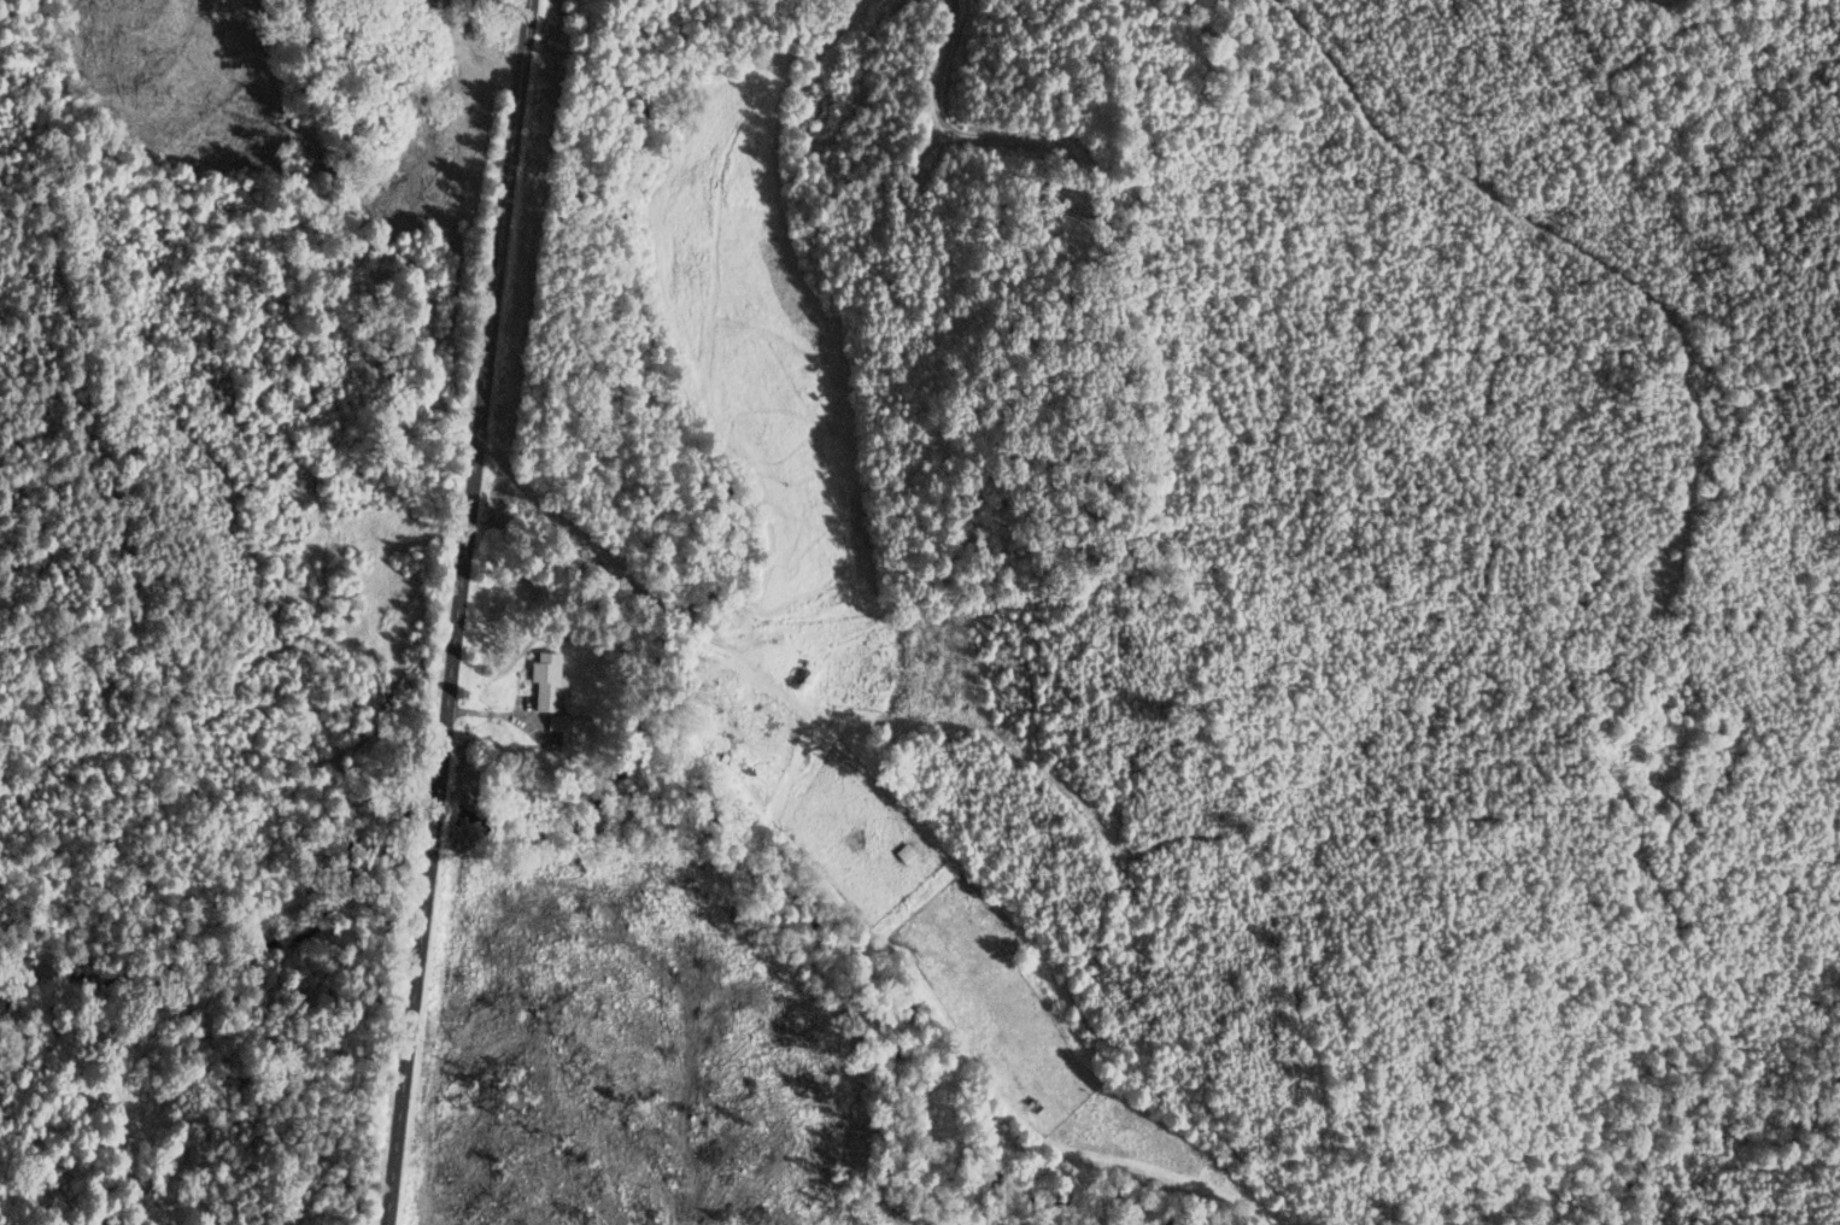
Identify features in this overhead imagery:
building: (433, 2)
road: (493, 31)
road: (450, 36)
building: (430, 70)
road: (453, 74)
road: (979, 134)
building: (402, 135)
road: (453, 611)
building: (805, 661)
building: (544, 680)

